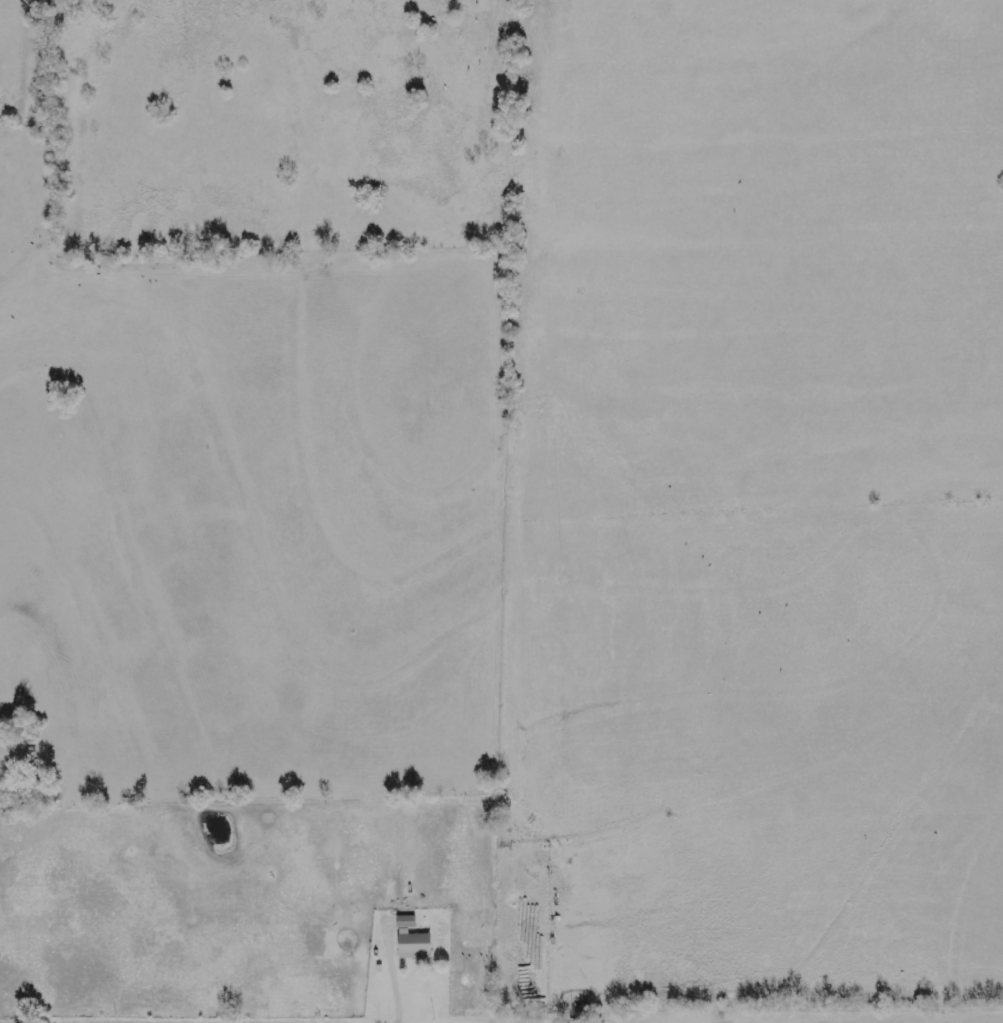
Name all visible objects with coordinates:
building: (412, 938)

